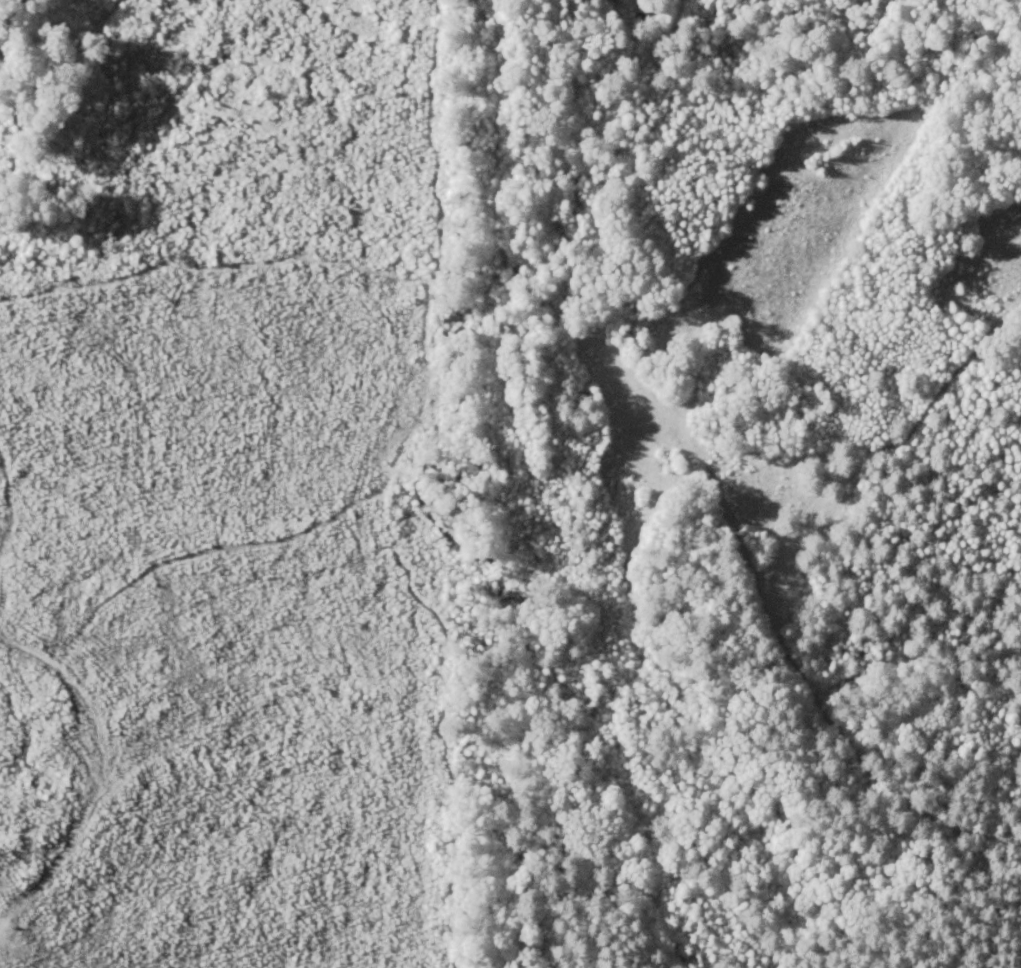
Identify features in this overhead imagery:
road: (810, 717)

